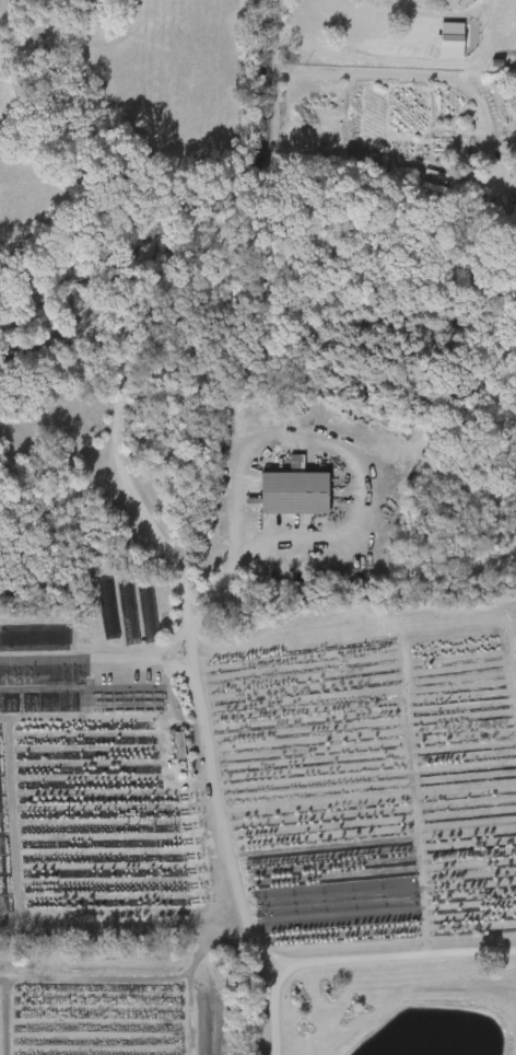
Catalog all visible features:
building: (455, 42)
road: (399, 62)
building: (495, 63)
road: (411, 76)
building: (514, 207)
road: (195, 216)
road: (357, 473)
building: (293, 494)
road: (94, 647)
road: (198, 712)
building: (180, 746)
road: (391, 959)

